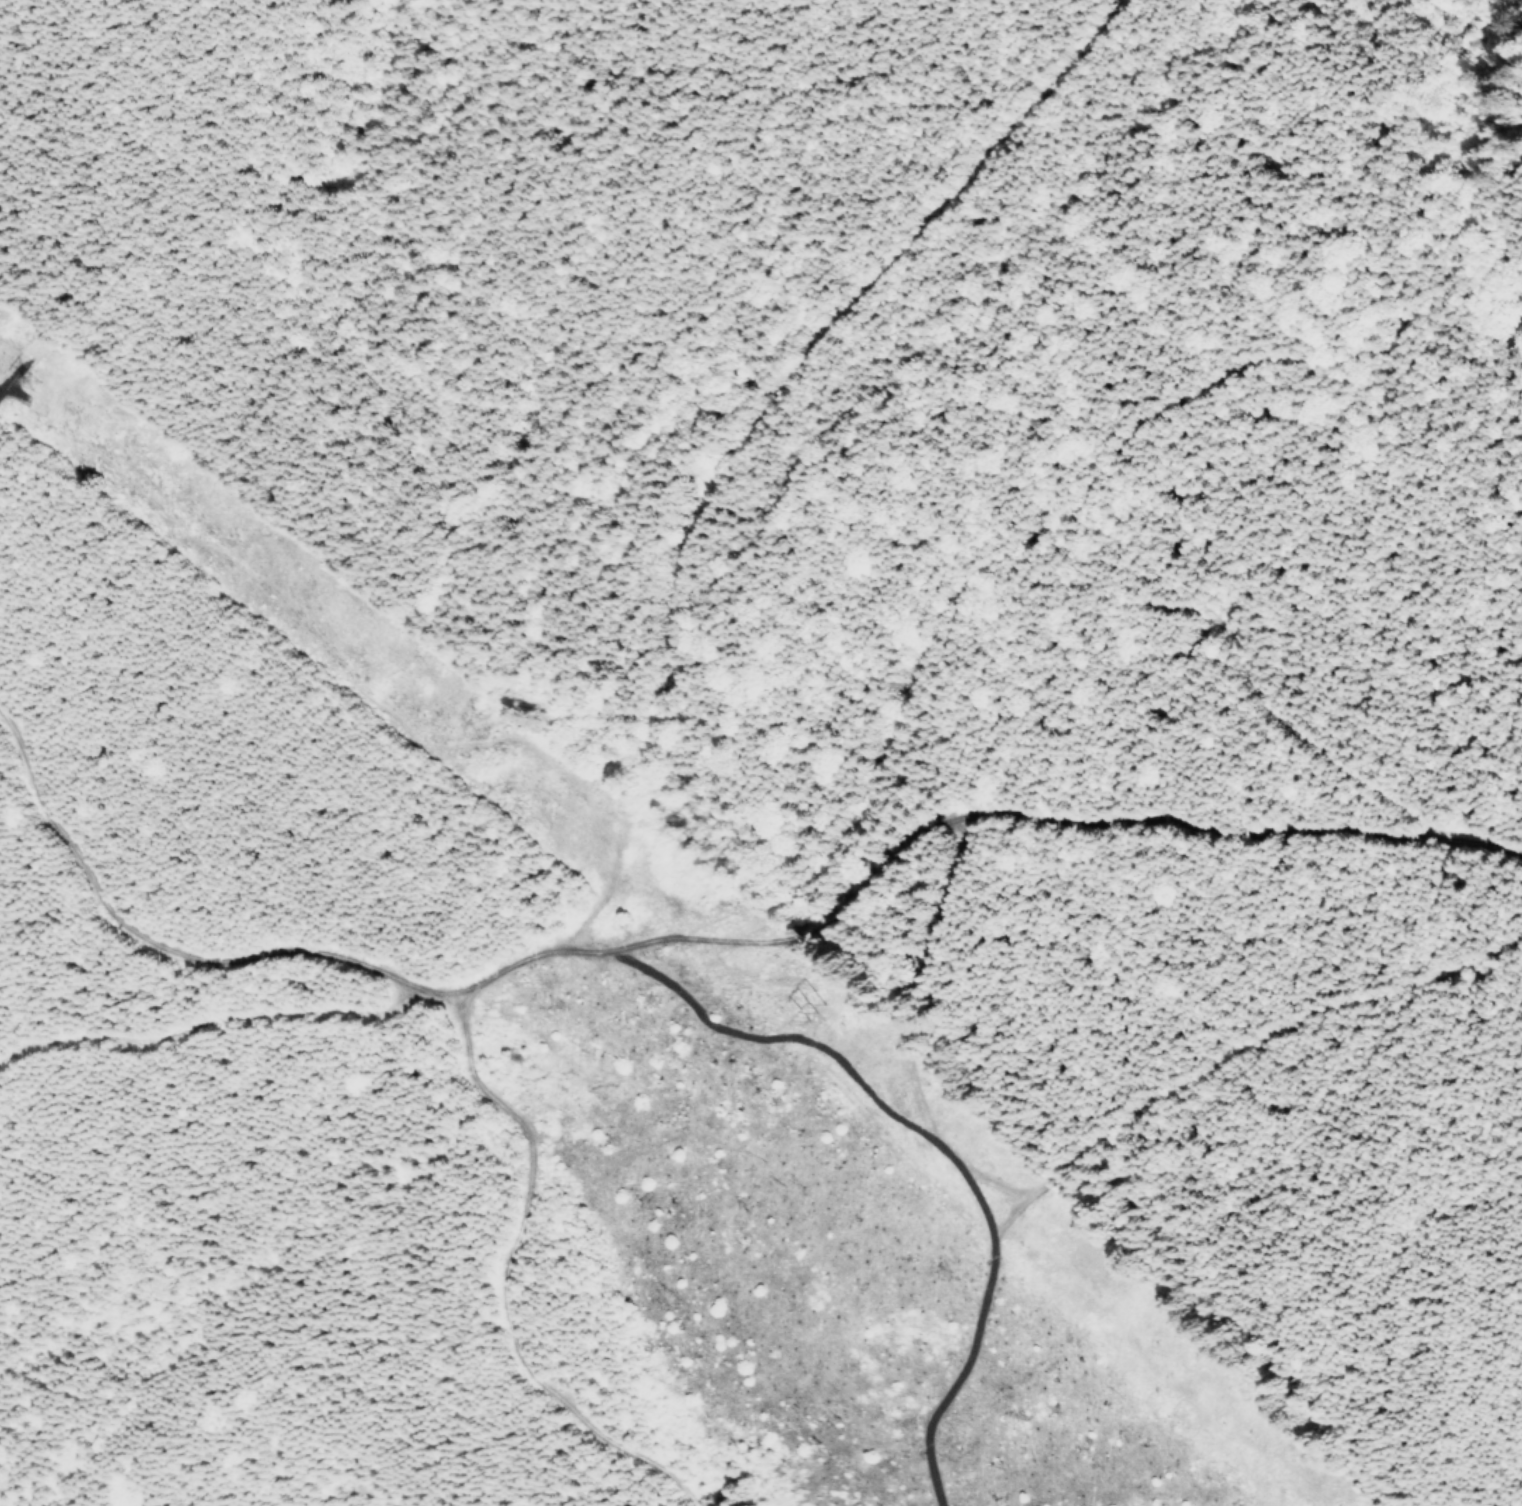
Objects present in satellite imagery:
power tower: (23, 377)
road: (489, 998)
power tower: (811, 1008)

